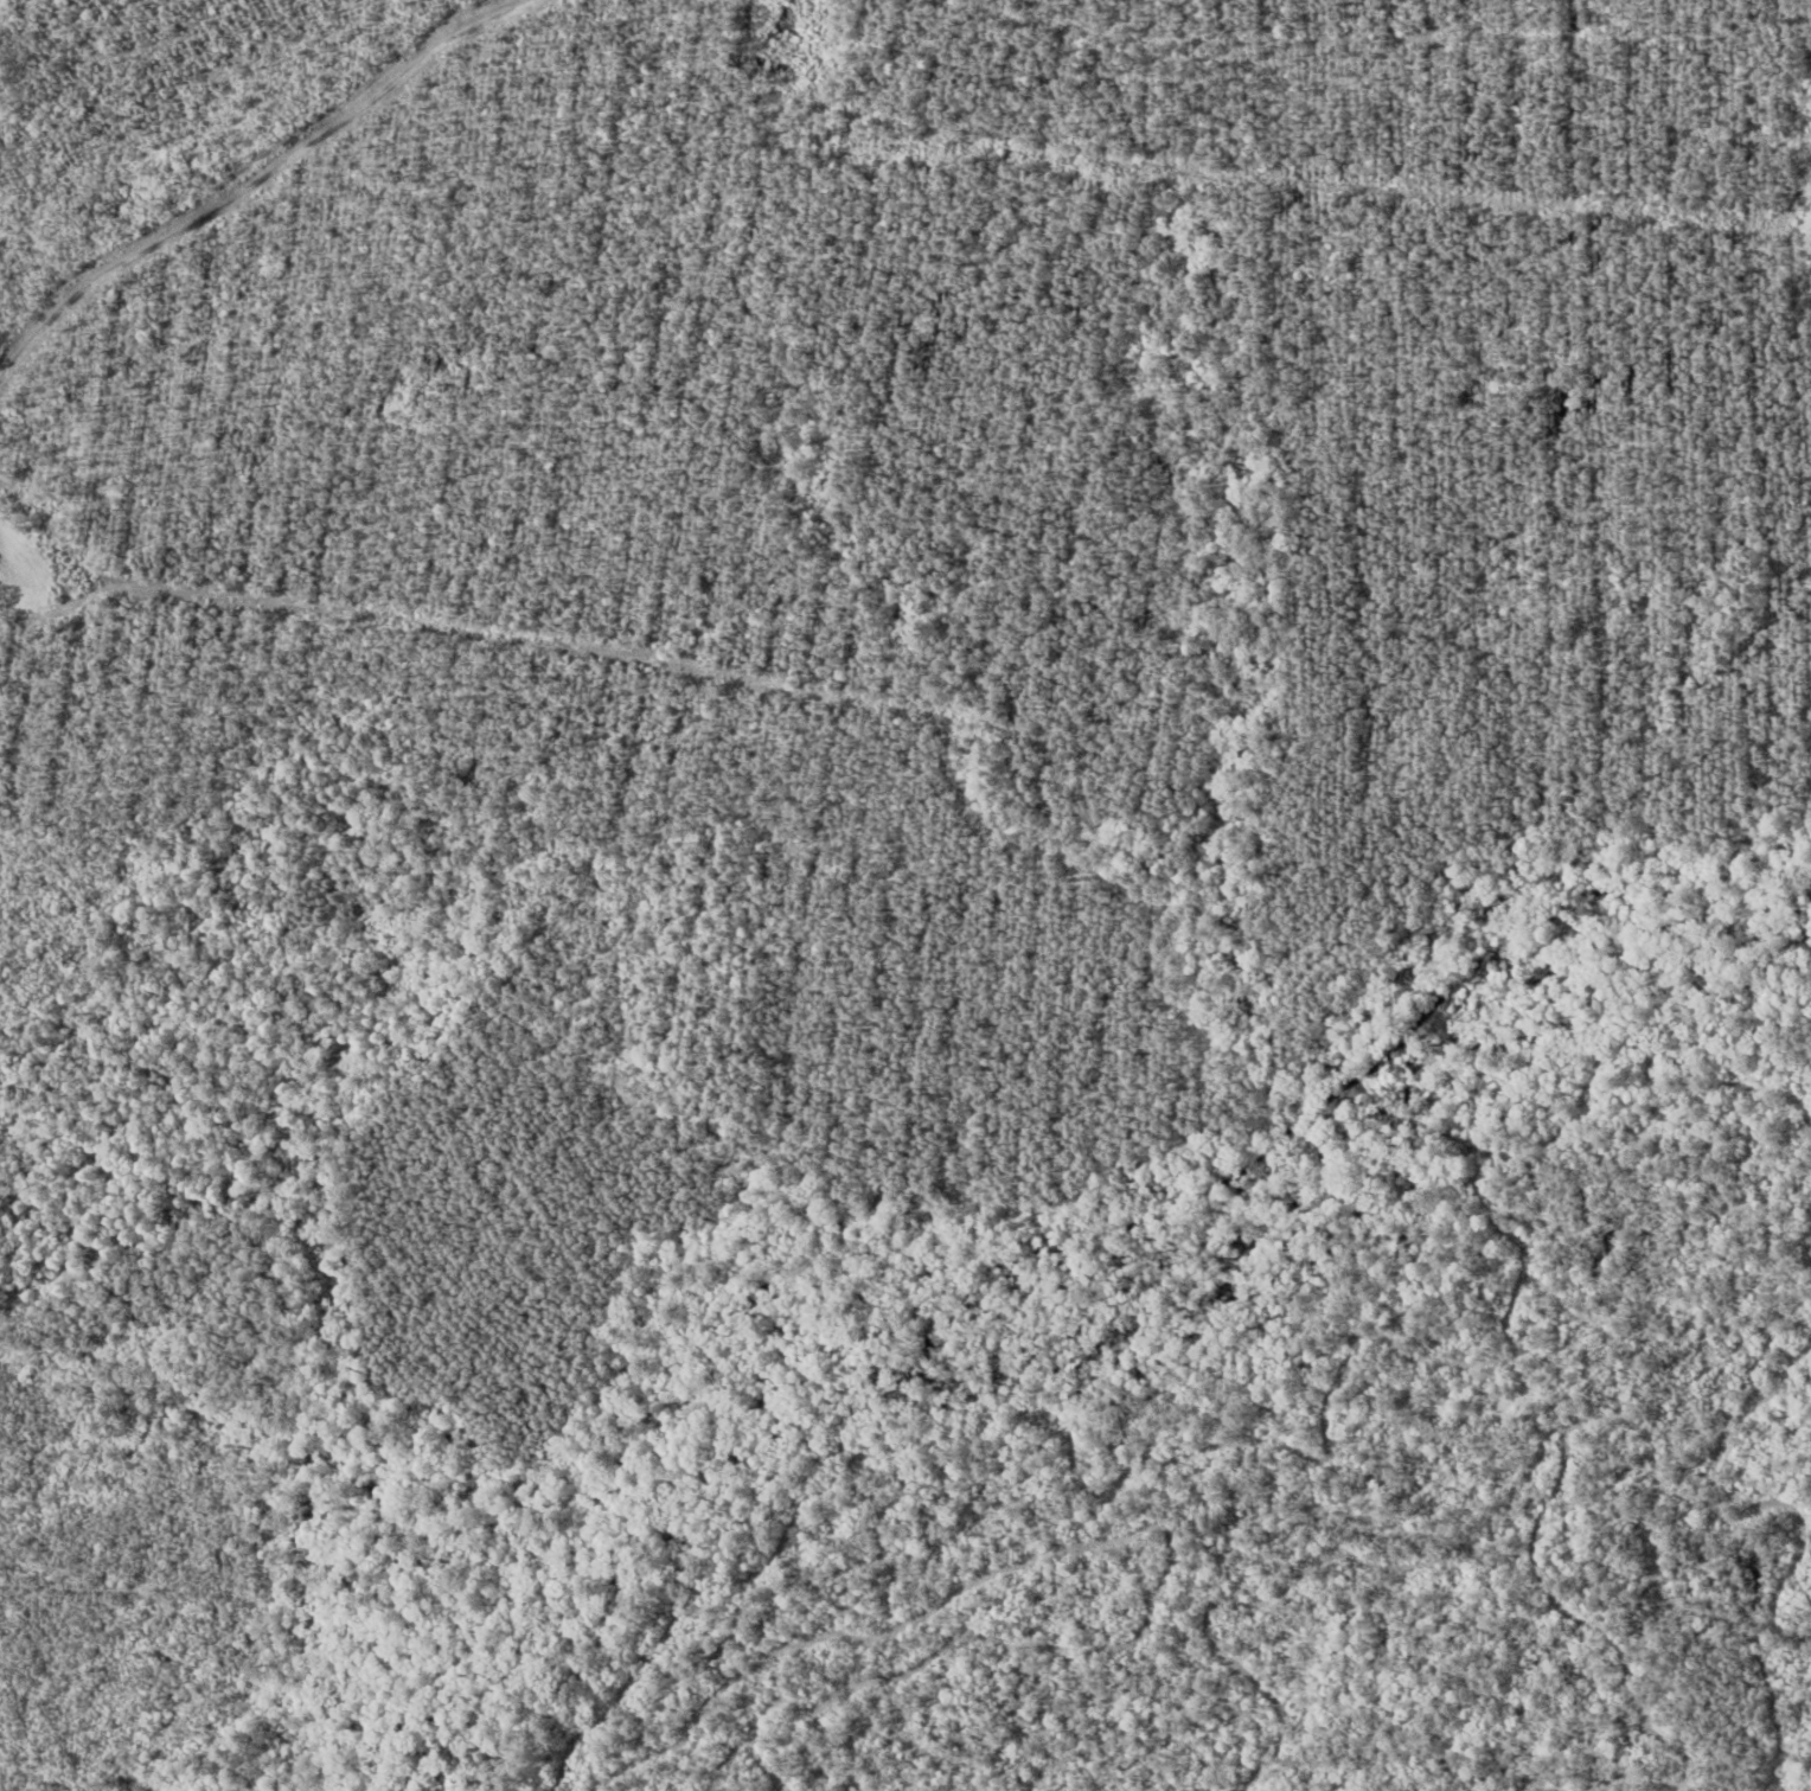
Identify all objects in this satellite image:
road: (283, 171)
road: (107, 1595)

